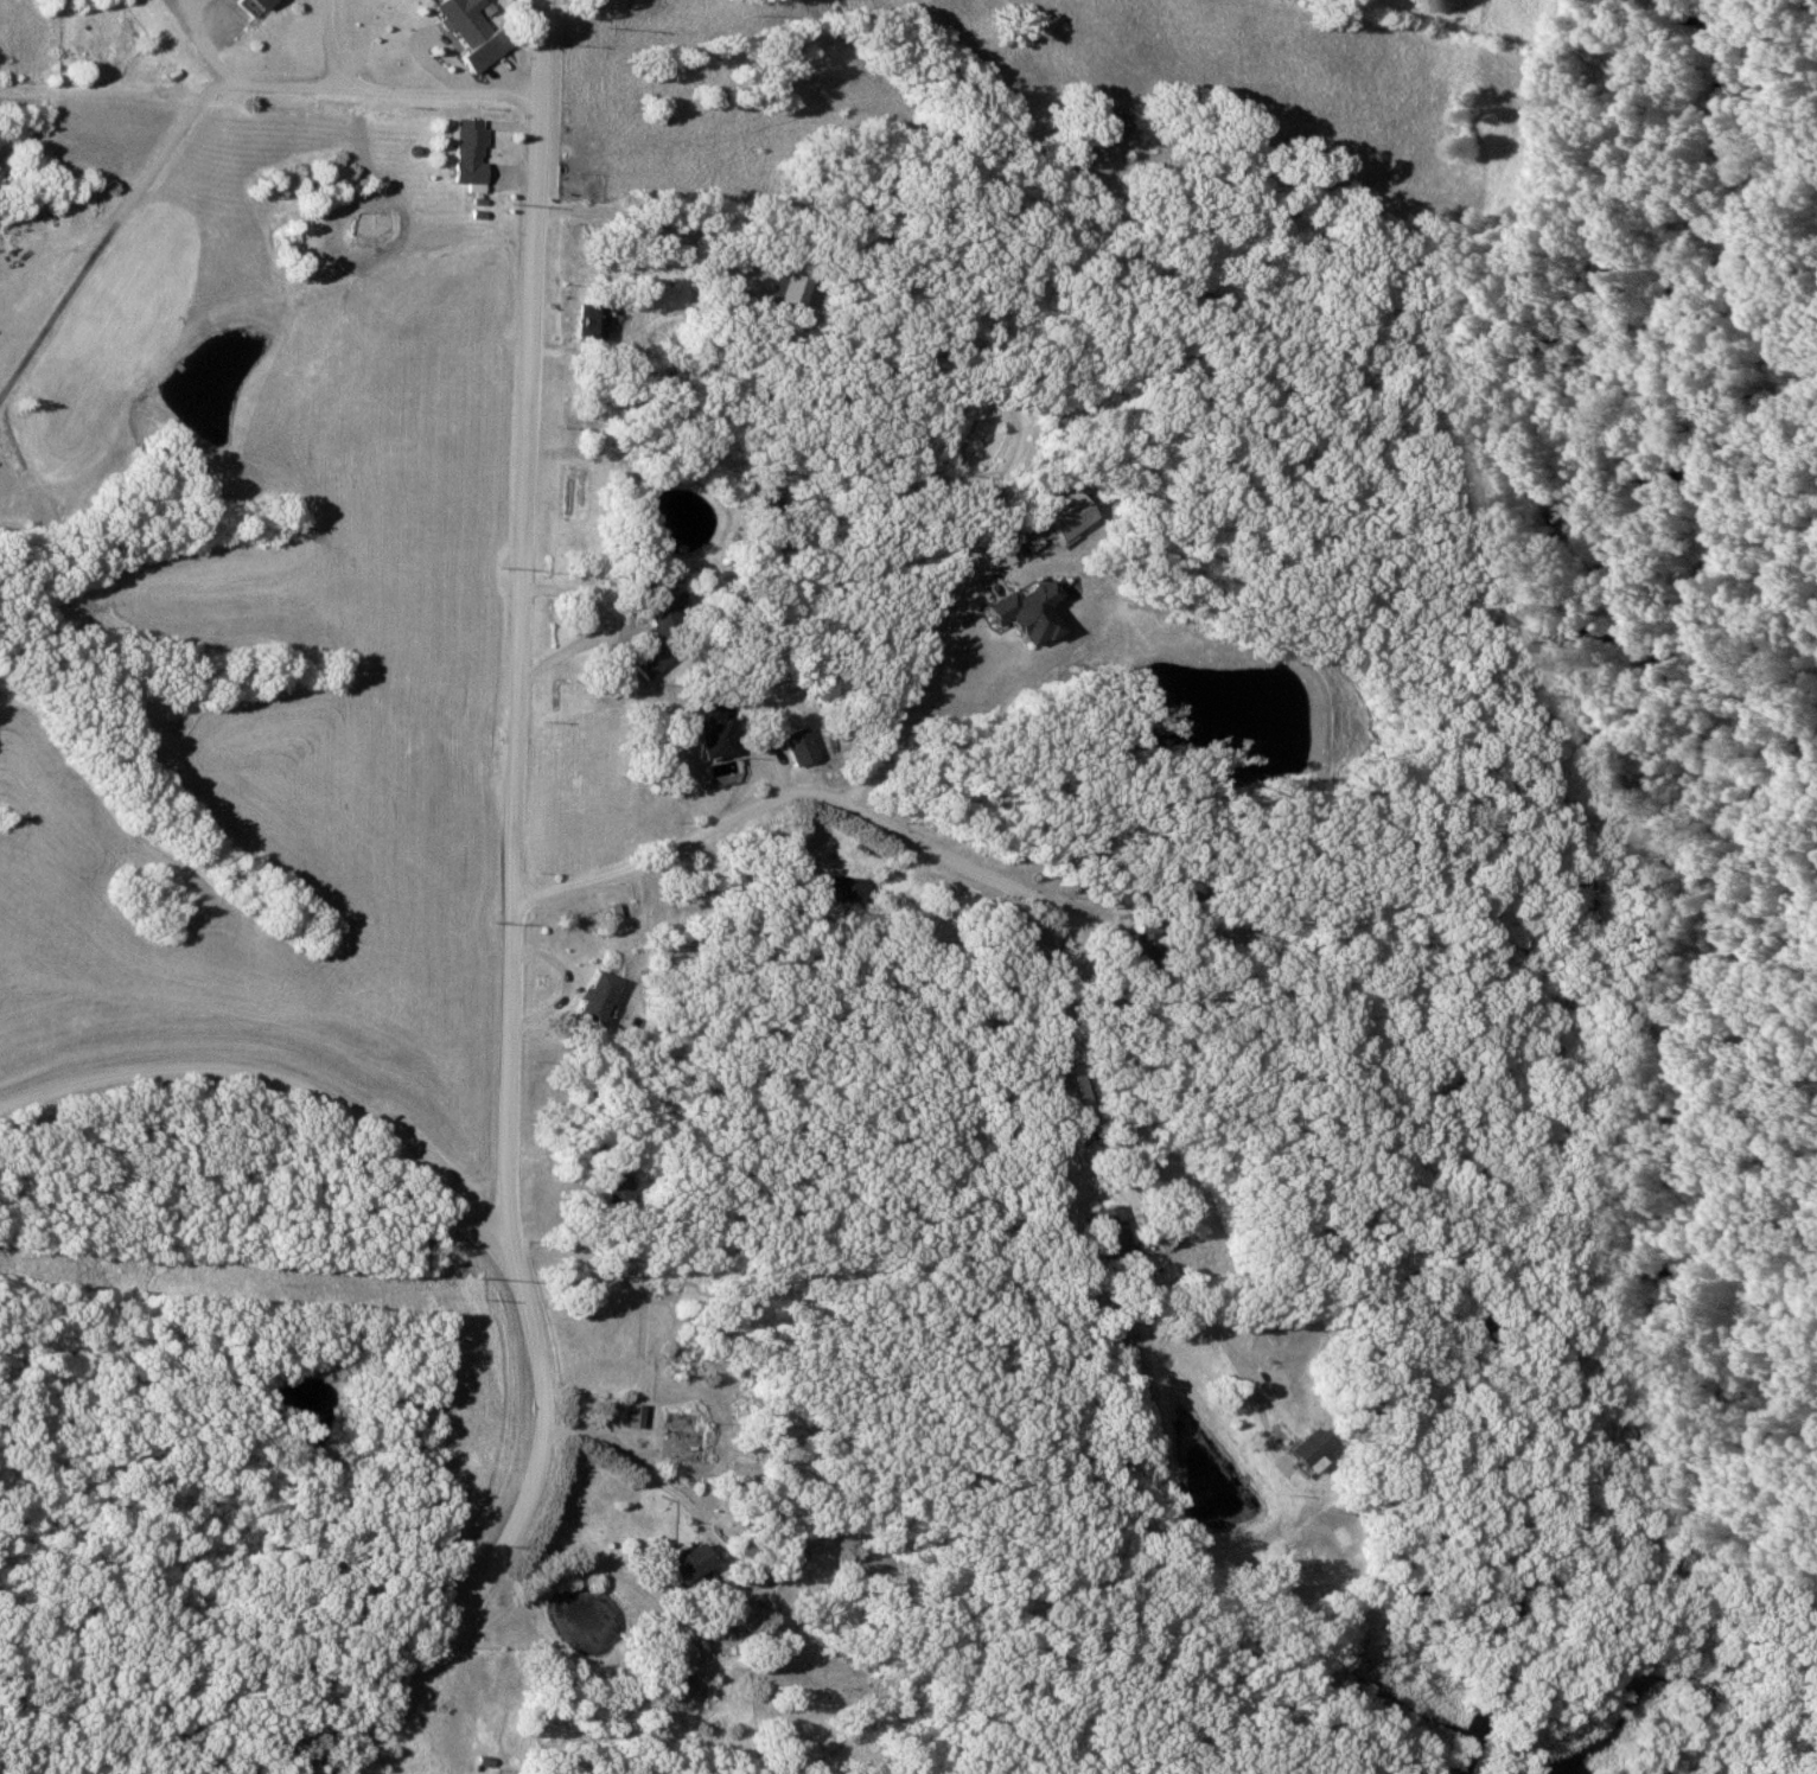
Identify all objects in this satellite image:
building: (254, 4)
building: (458, 21)
road: (338, 94)
building: (464, 153)
building: (587, 323)
building: (657, 602)
building: (1019, 613)
building: (708, 732)
building: (791, 746)
road: (801, 803)
building: (842, 888)
road: (512, 911)
building: (608, 919)
building: (1139, 956)
building: (591, 998)
building: (1067, 1086)
building: (617, 1179)
building: (1103, 1225)
building: (629, 1416)
building: (1299, 1450)
road: (811, 1523)
building: (680, 1563)
road: (337, 1610)

